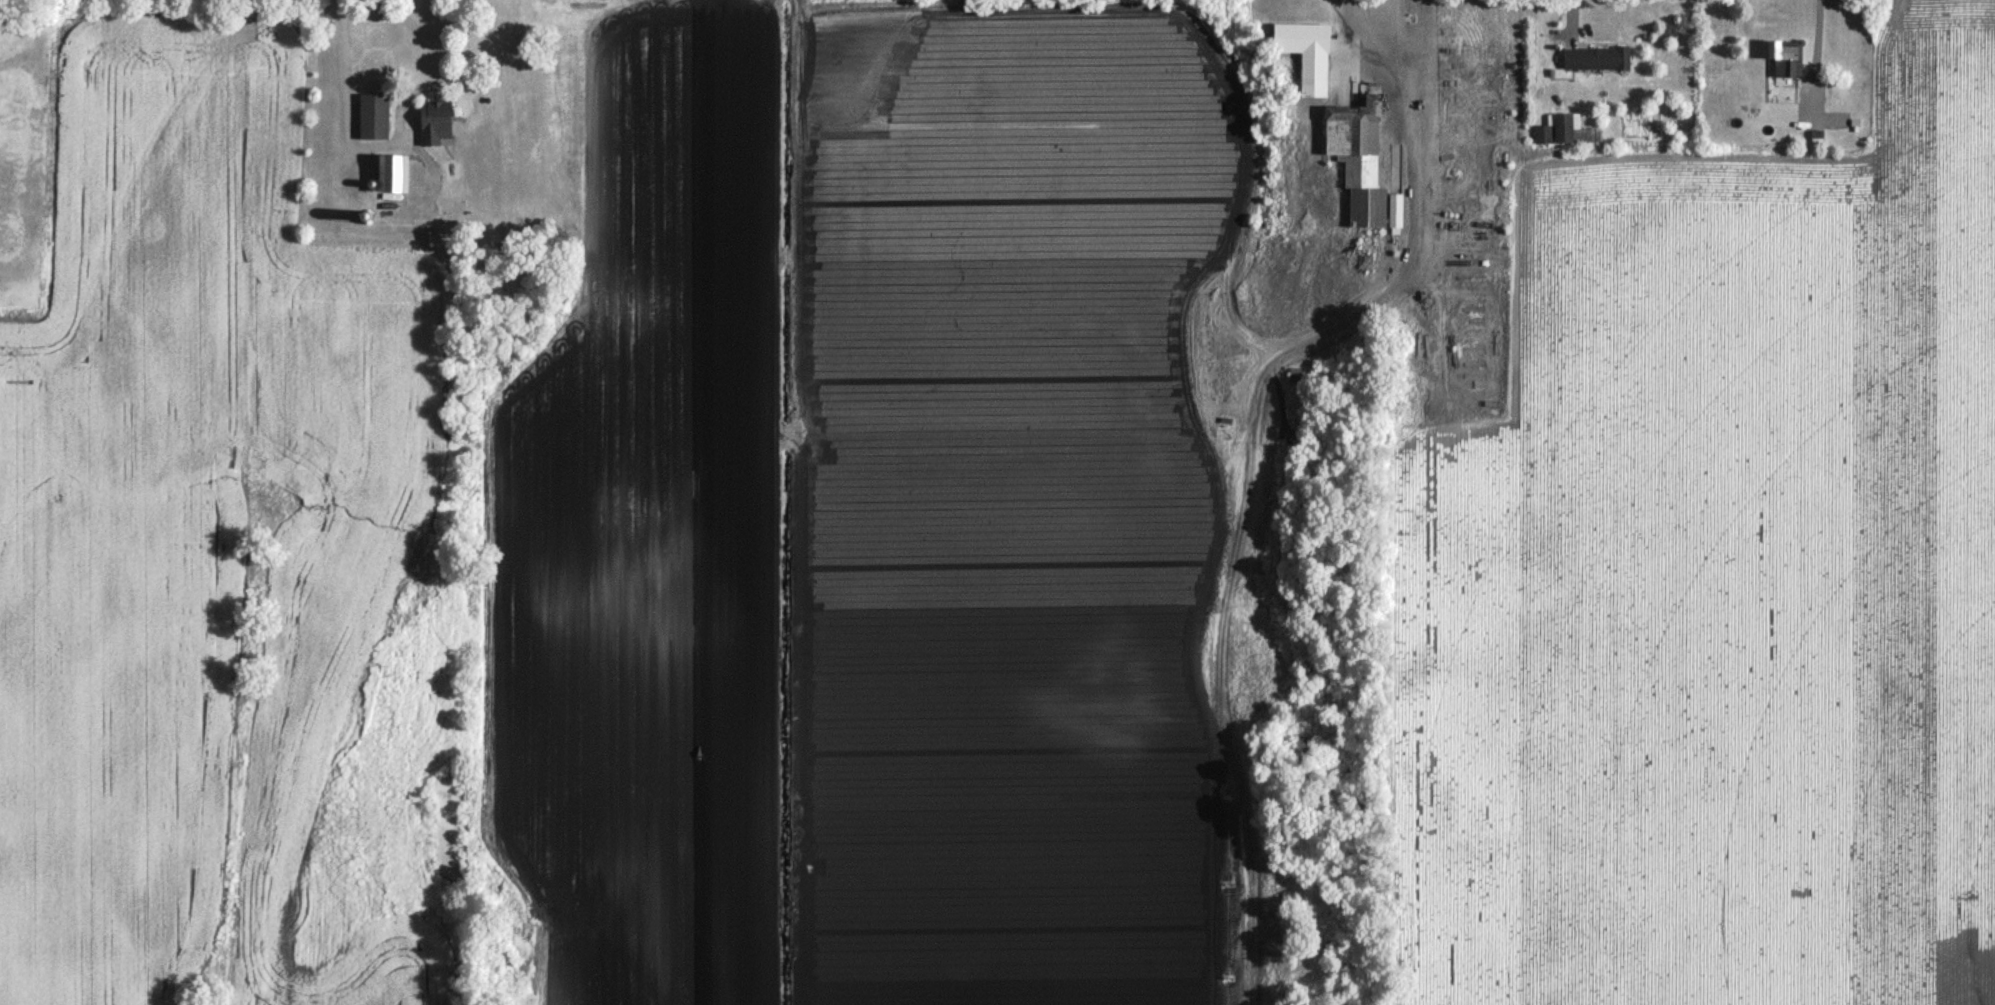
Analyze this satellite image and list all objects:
road: (1816, 37)
building: (1310, 58)
building: (1598, 63)
building: (1786, 63)
building: (376, 120)
building: (438, 125)
building: (1567, 131)
road: (386, 137)
building: (1545, 138)
building: (1361, 163)
building: (398, 180)

